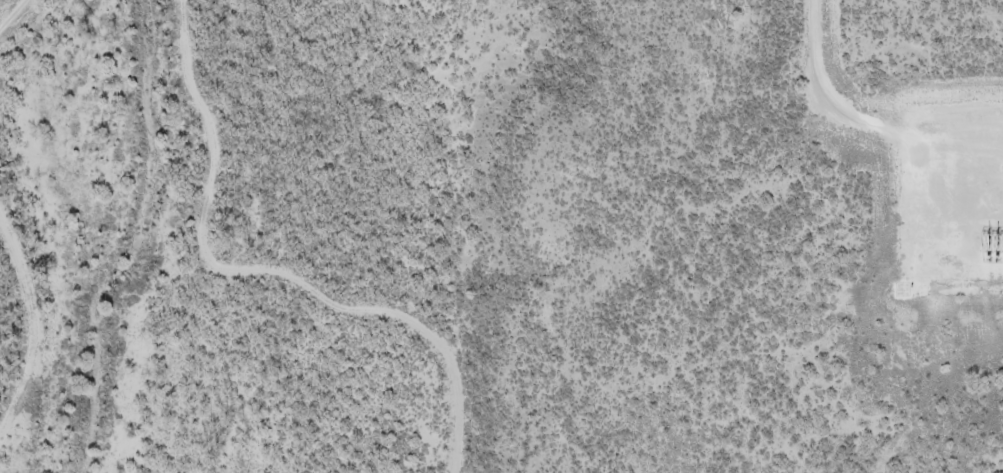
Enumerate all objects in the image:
road: (9, 10)
road: (832, 89)

